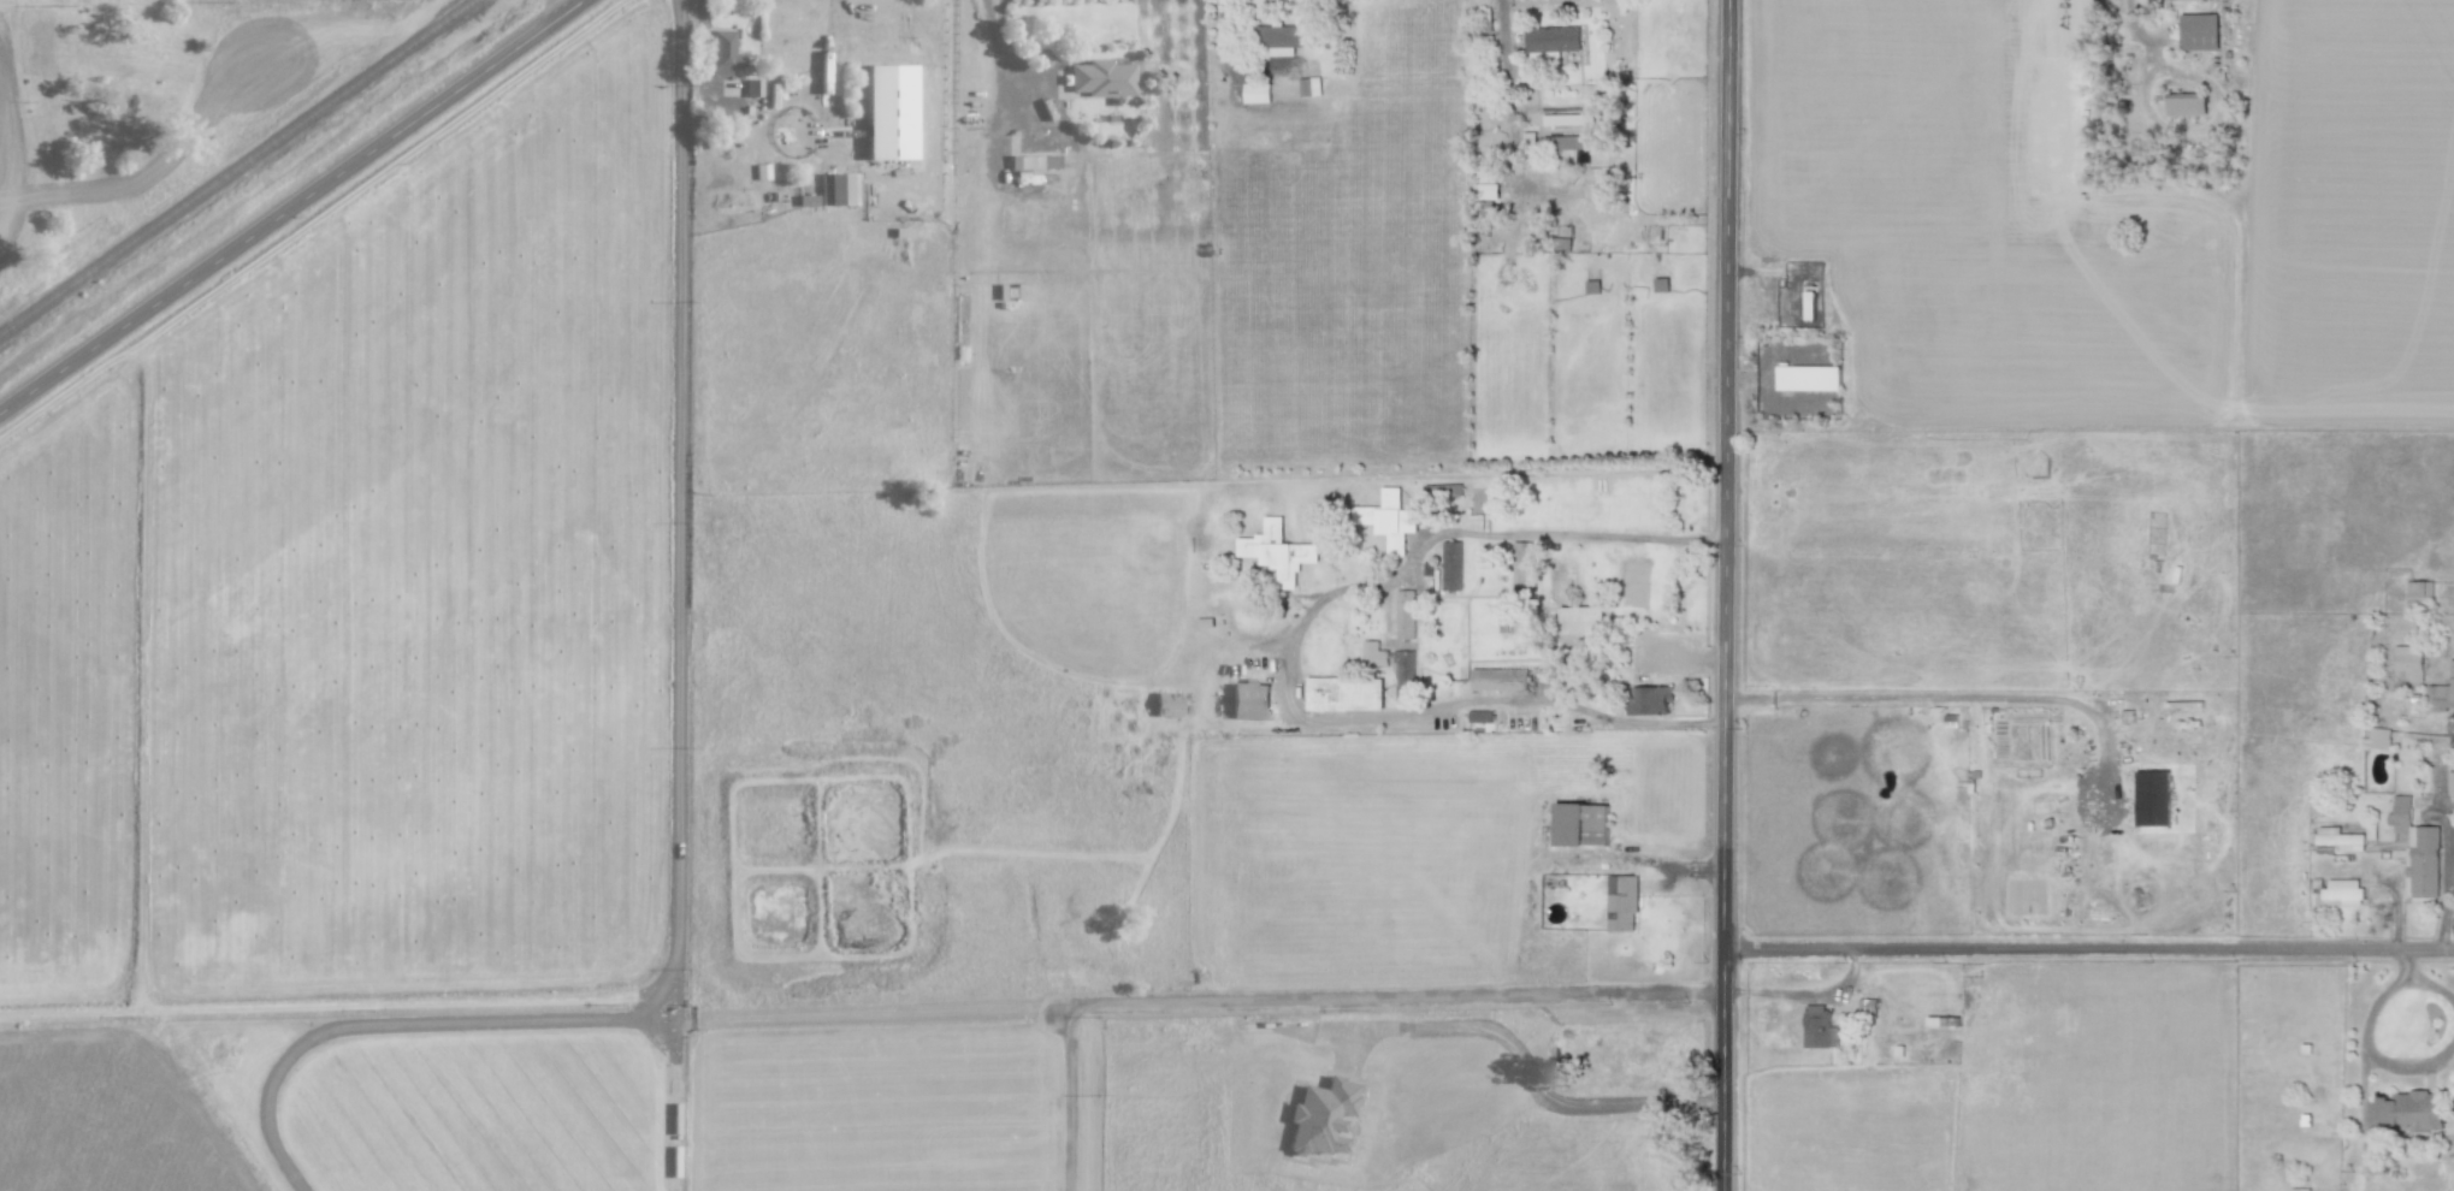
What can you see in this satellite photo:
building: (2199, 31)
building: (862, 32)
building: (1553, 38)
road: (700, 47)
road: (998, 49)
building: (721, 54)
road: (1231, 54)
building: (1101, 78)
building: (752, 87)
building: (1309, 87)
building: (1256, 93)
road: (1507, 93)
building: (2186, 103)
building: (889, 111)
building: (1566, 119)
building: (1561, 142)
building: (1028, 162)
railway: (237, 167)
building: (761, 171)
building: (1489, 182)
building: (838, 189)
building: (806, 200)
road: (292, 207)
building: (1809, 378)
building: (1444, 491)
building: (1390, 520)
building: (1277, 551)
building: (1450, 565)
building: (1522, 565)
building: (2419, 594)
road: (1728, 595)
building: (1405, 614)
building: (1581, 628)
building: (1373, 653)
road: (1293, 656)
building: (2408, 662)
building: (1405, 674)
building: (1500, 679)
building: (1344, 693)
building: (2441, 694)
road: (1929, 695)
building: (1651, 699)
building: (1249, 700)
building: (1166, 704)
building: (1479, 716)
building: (2452, 727)
building: (2378, 737)
building: (2452, 782)
building: (2153, 798)
building: (1581, 824)
building: (2340, 839)
building: (2417, 851)
building: (2343, 890)
building: (1621, 902)
road: (2089, 949)
road: (1306, 996)
building: (1819, 1026)
road: (1527, 1072)
building: (2408, 1112)
building: (1320, 1116)

